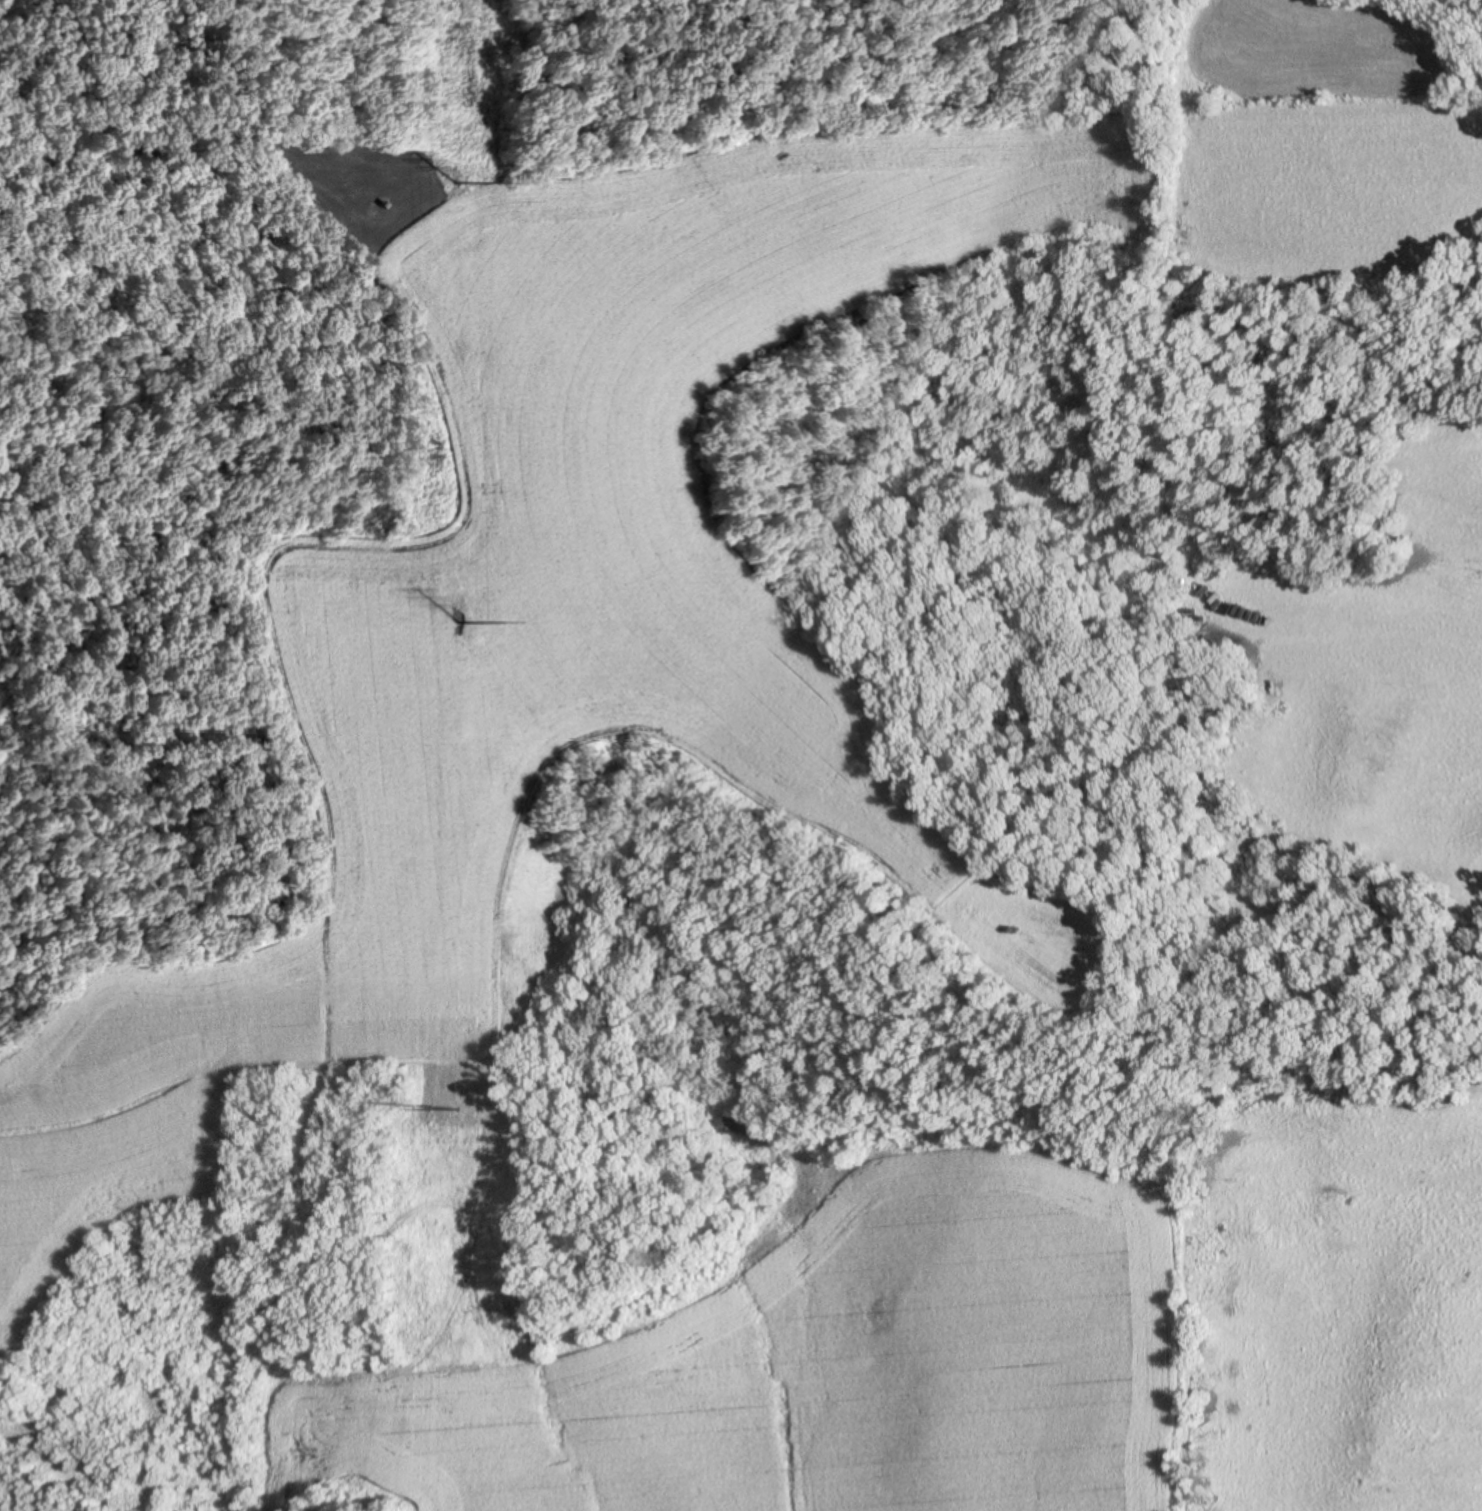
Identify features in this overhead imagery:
power tower: (455, 185)
power tower: (460, 620)
power tower: (465, 1107)

